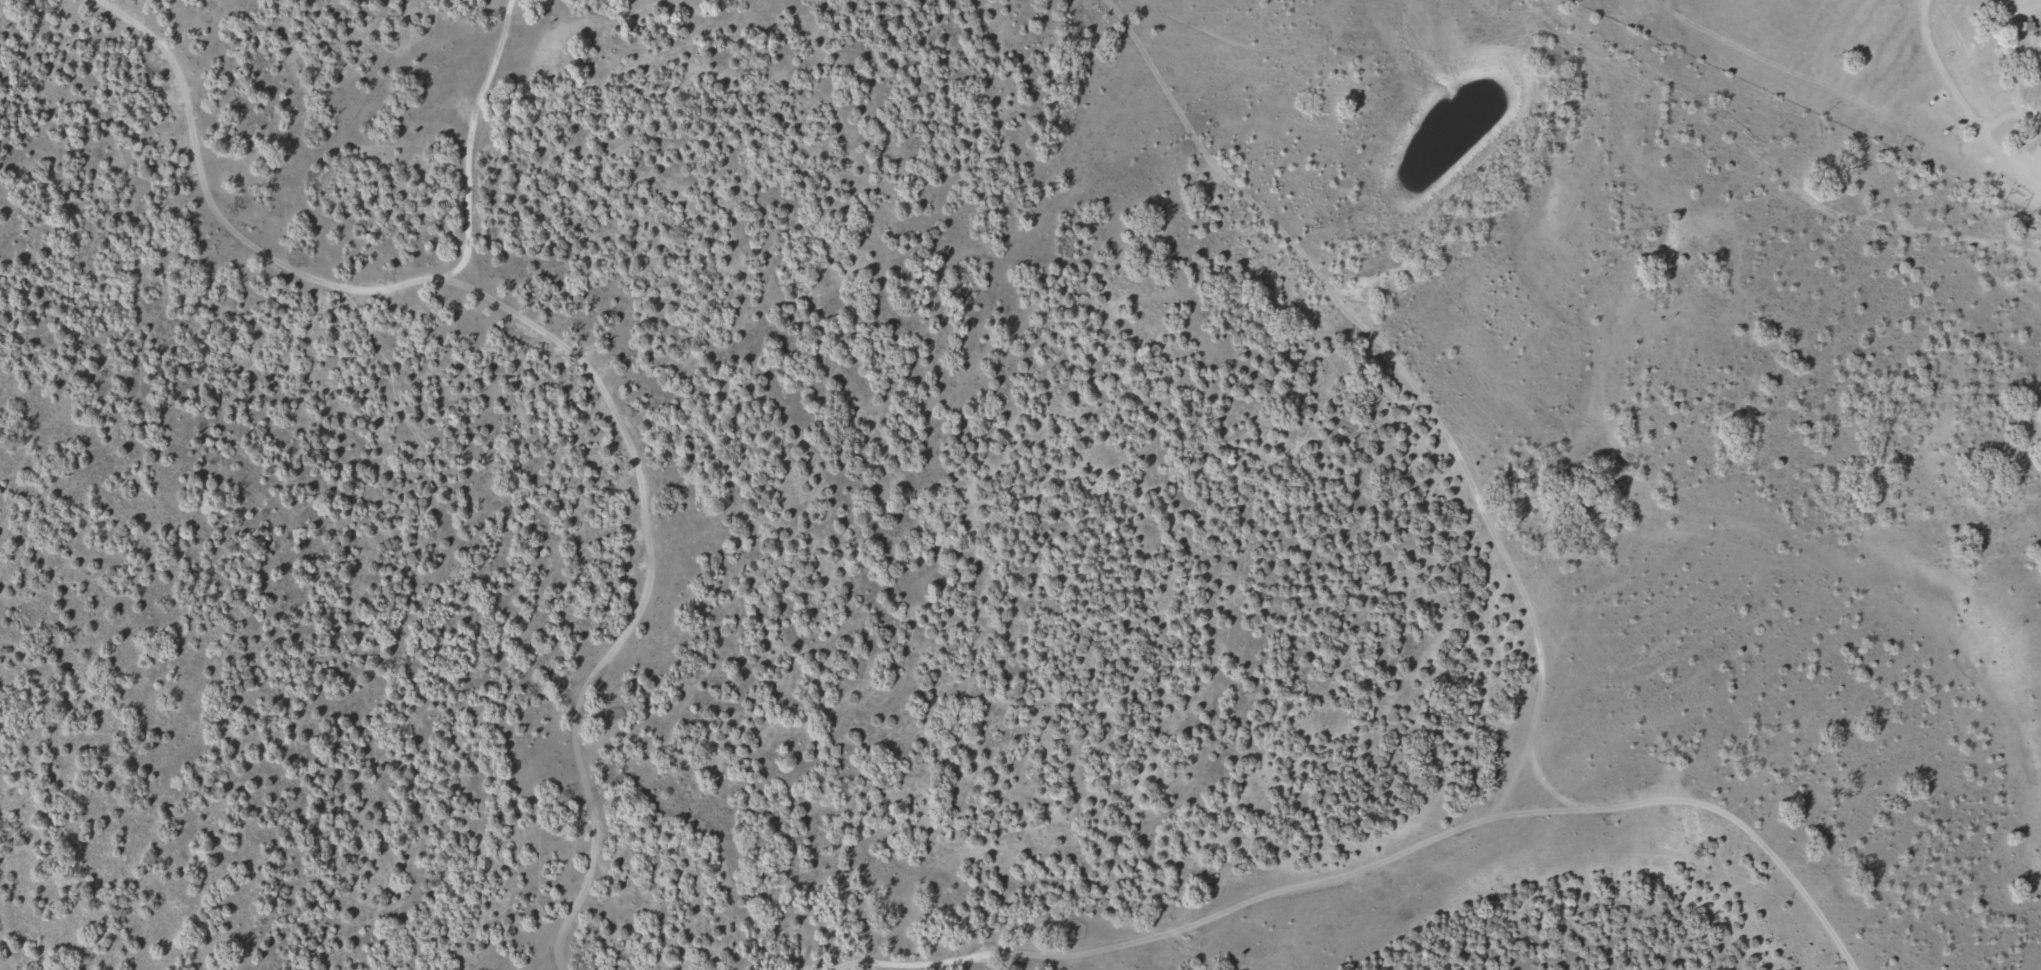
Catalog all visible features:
road: (1771, 198)

